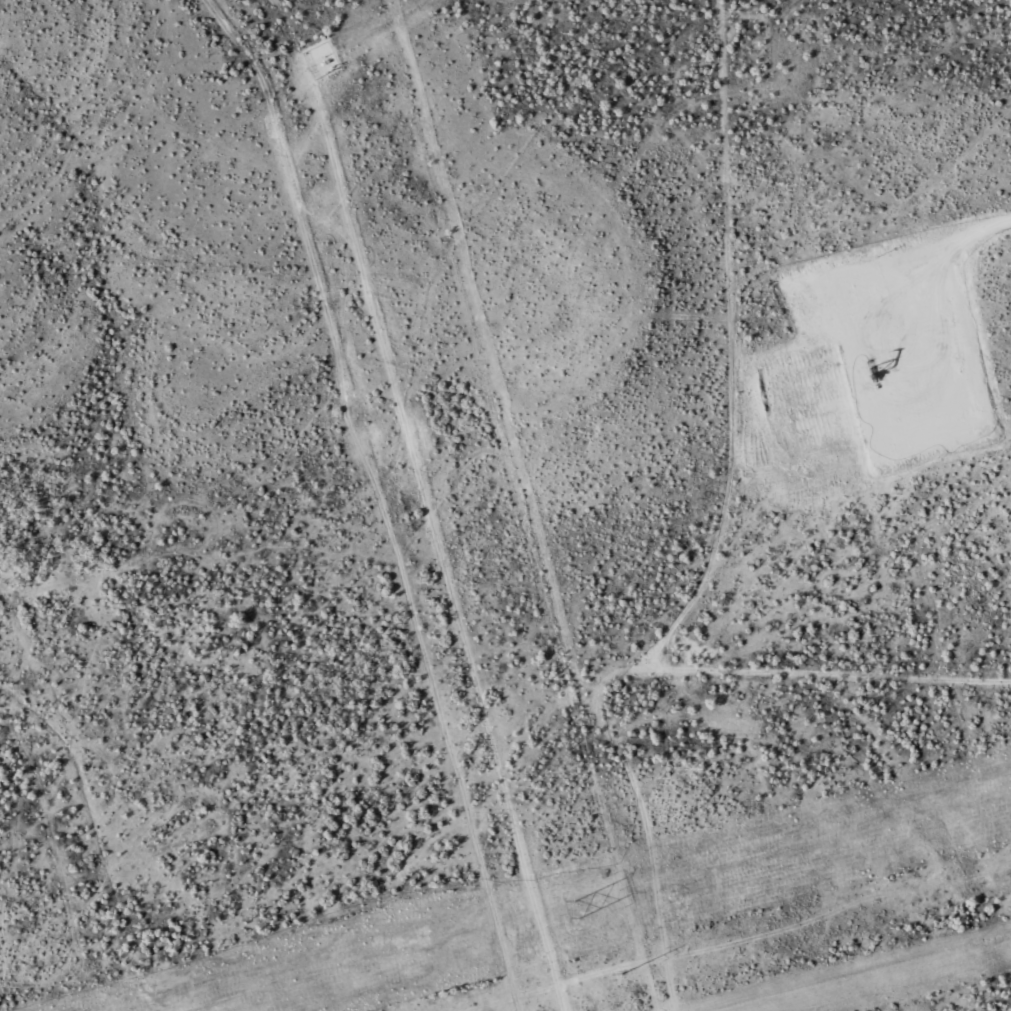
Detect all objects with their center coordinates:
power tower: (579, 912)
power tower: (622, 974)

